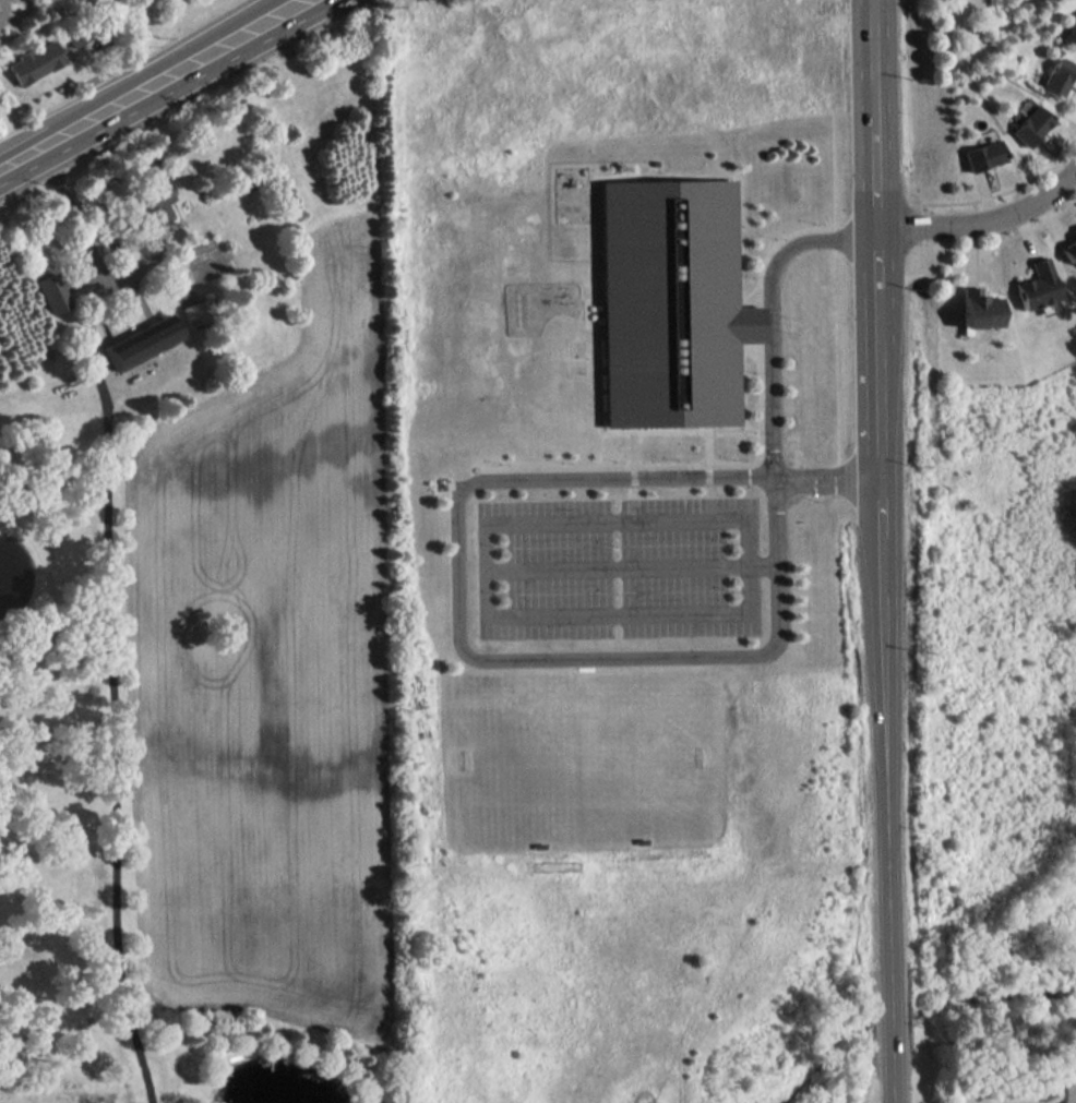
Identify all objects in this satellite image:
road: (184, 12)
building: (77, 29)
building: (1071, 34)
road: (878, 51)
building: (35, 61)
building: (1056, 75)
road: (141, 81)
building: (1030, 124)
building: (981, 154)
road: (880, 166)
building: (154, 203)
road: (80, 219)
road: (984, 220)
building: (1071, 249)
road: (120, 275)
building: (1037, 285)
building: (52, 289)
building: (671, 308)
building: (979, 309)
building: (194, 312)
road: (774, 320)
building: (141, 331)
road: (881, 357)
road: (829, 485)
road: (637, 574)
parking lot: (623, 575)
road: (495, 583)
road: (473, 659)
crop: (270, 681)
road: (112, 684)
road: (885, 794)
building: (1068, 1090)

